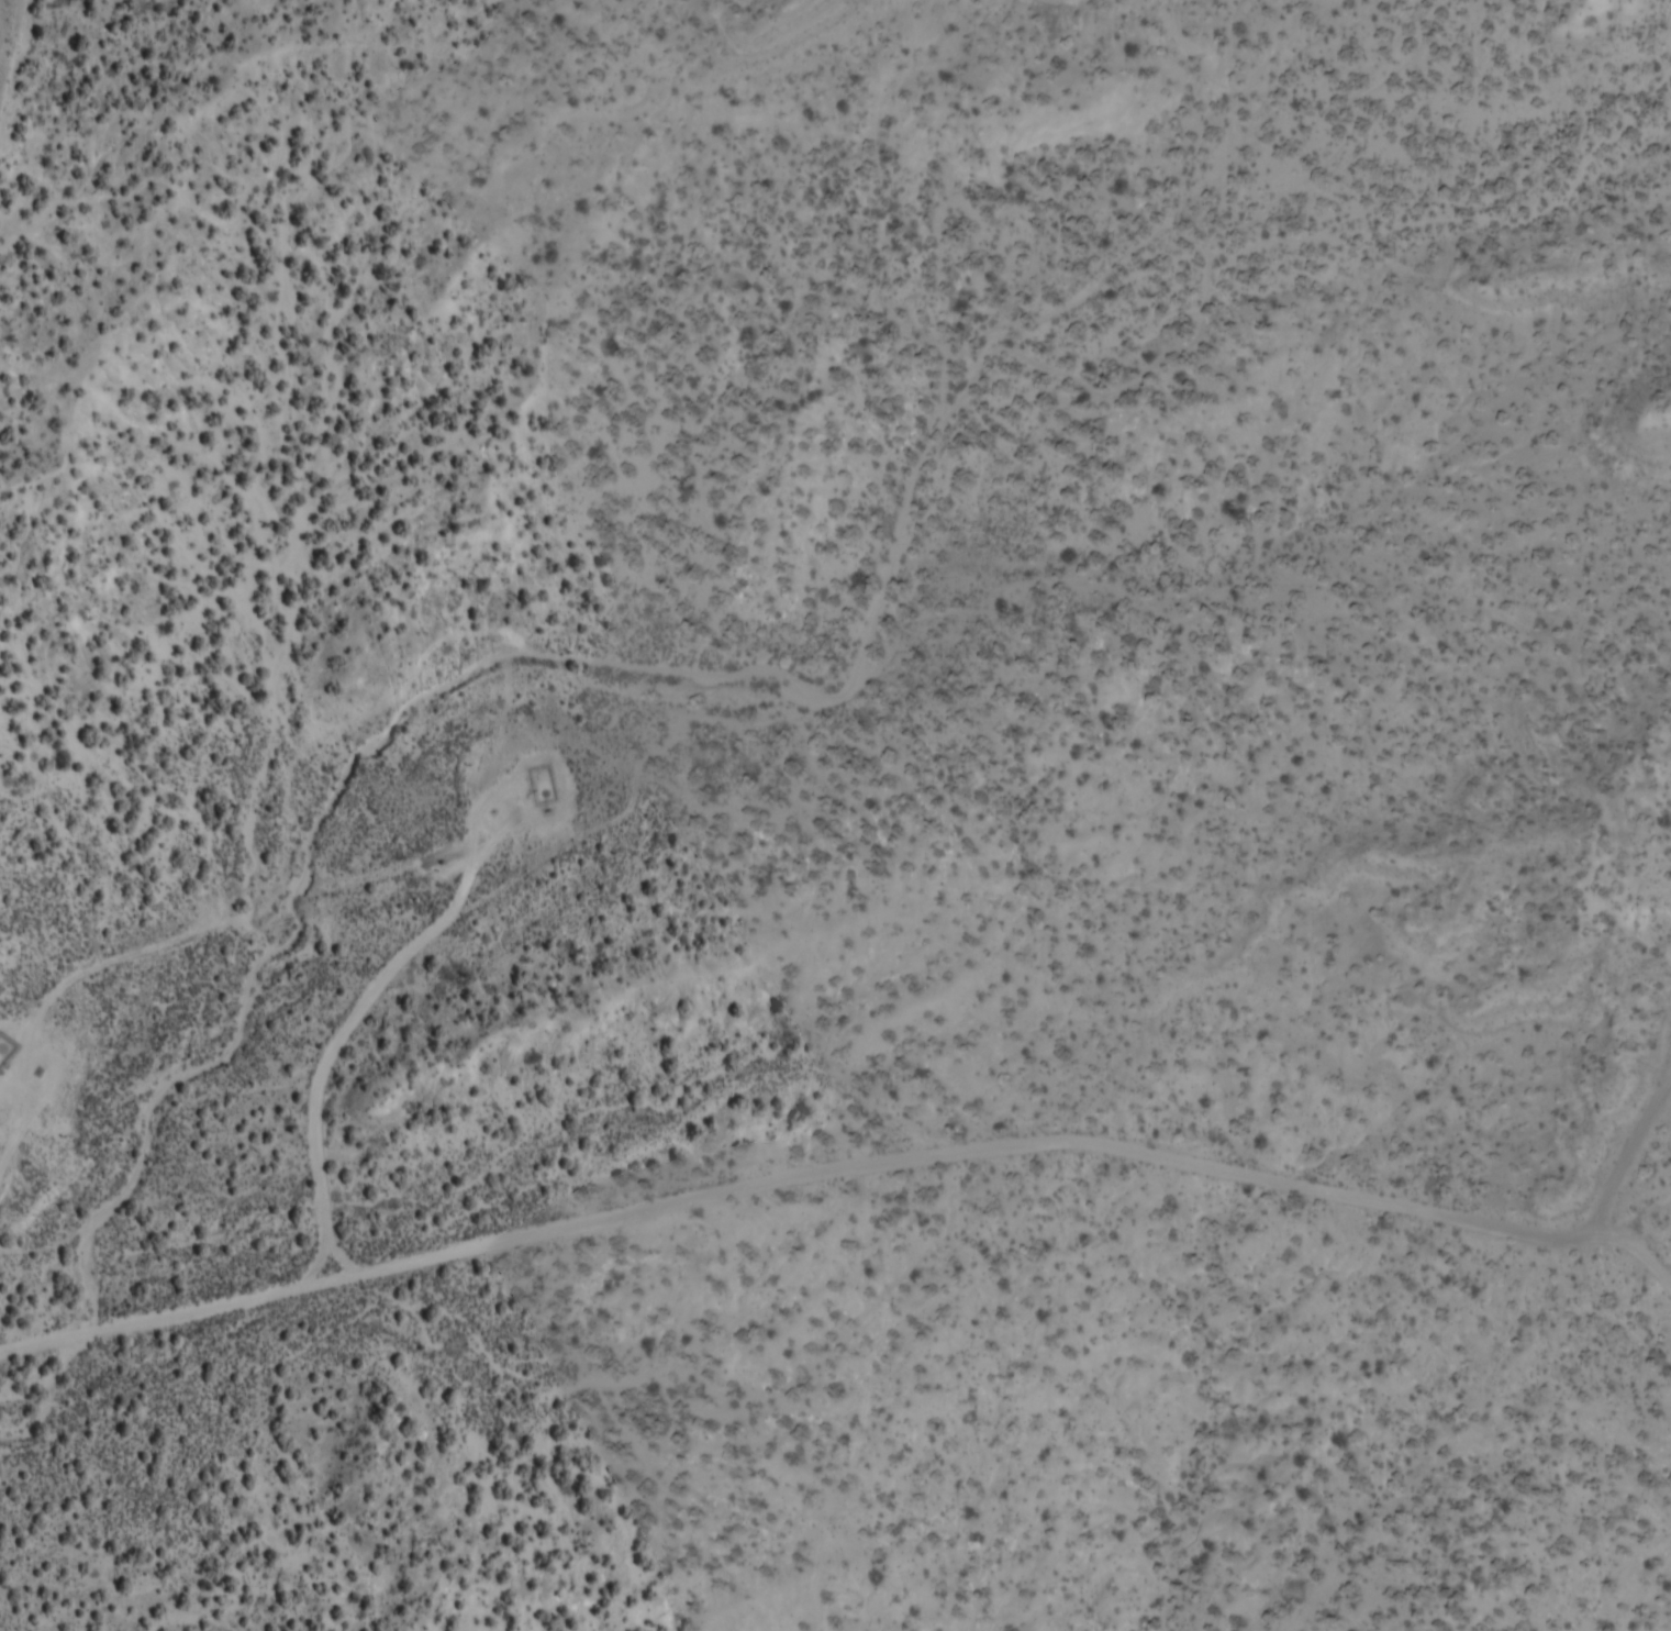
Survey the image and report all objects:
road: (454, 883)
road: (857, 1154)

